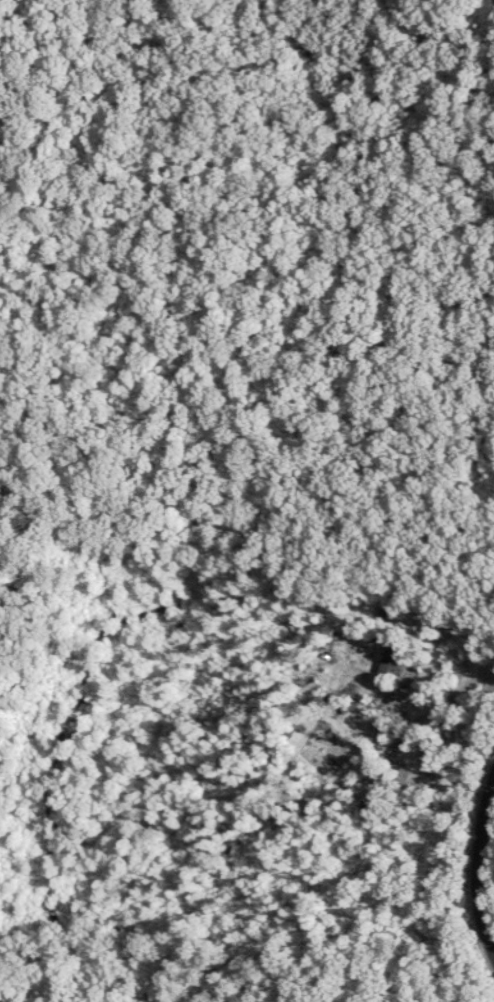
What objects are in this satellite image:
building: (391, 661)
road: (450, 698)
road: (481, 867)

